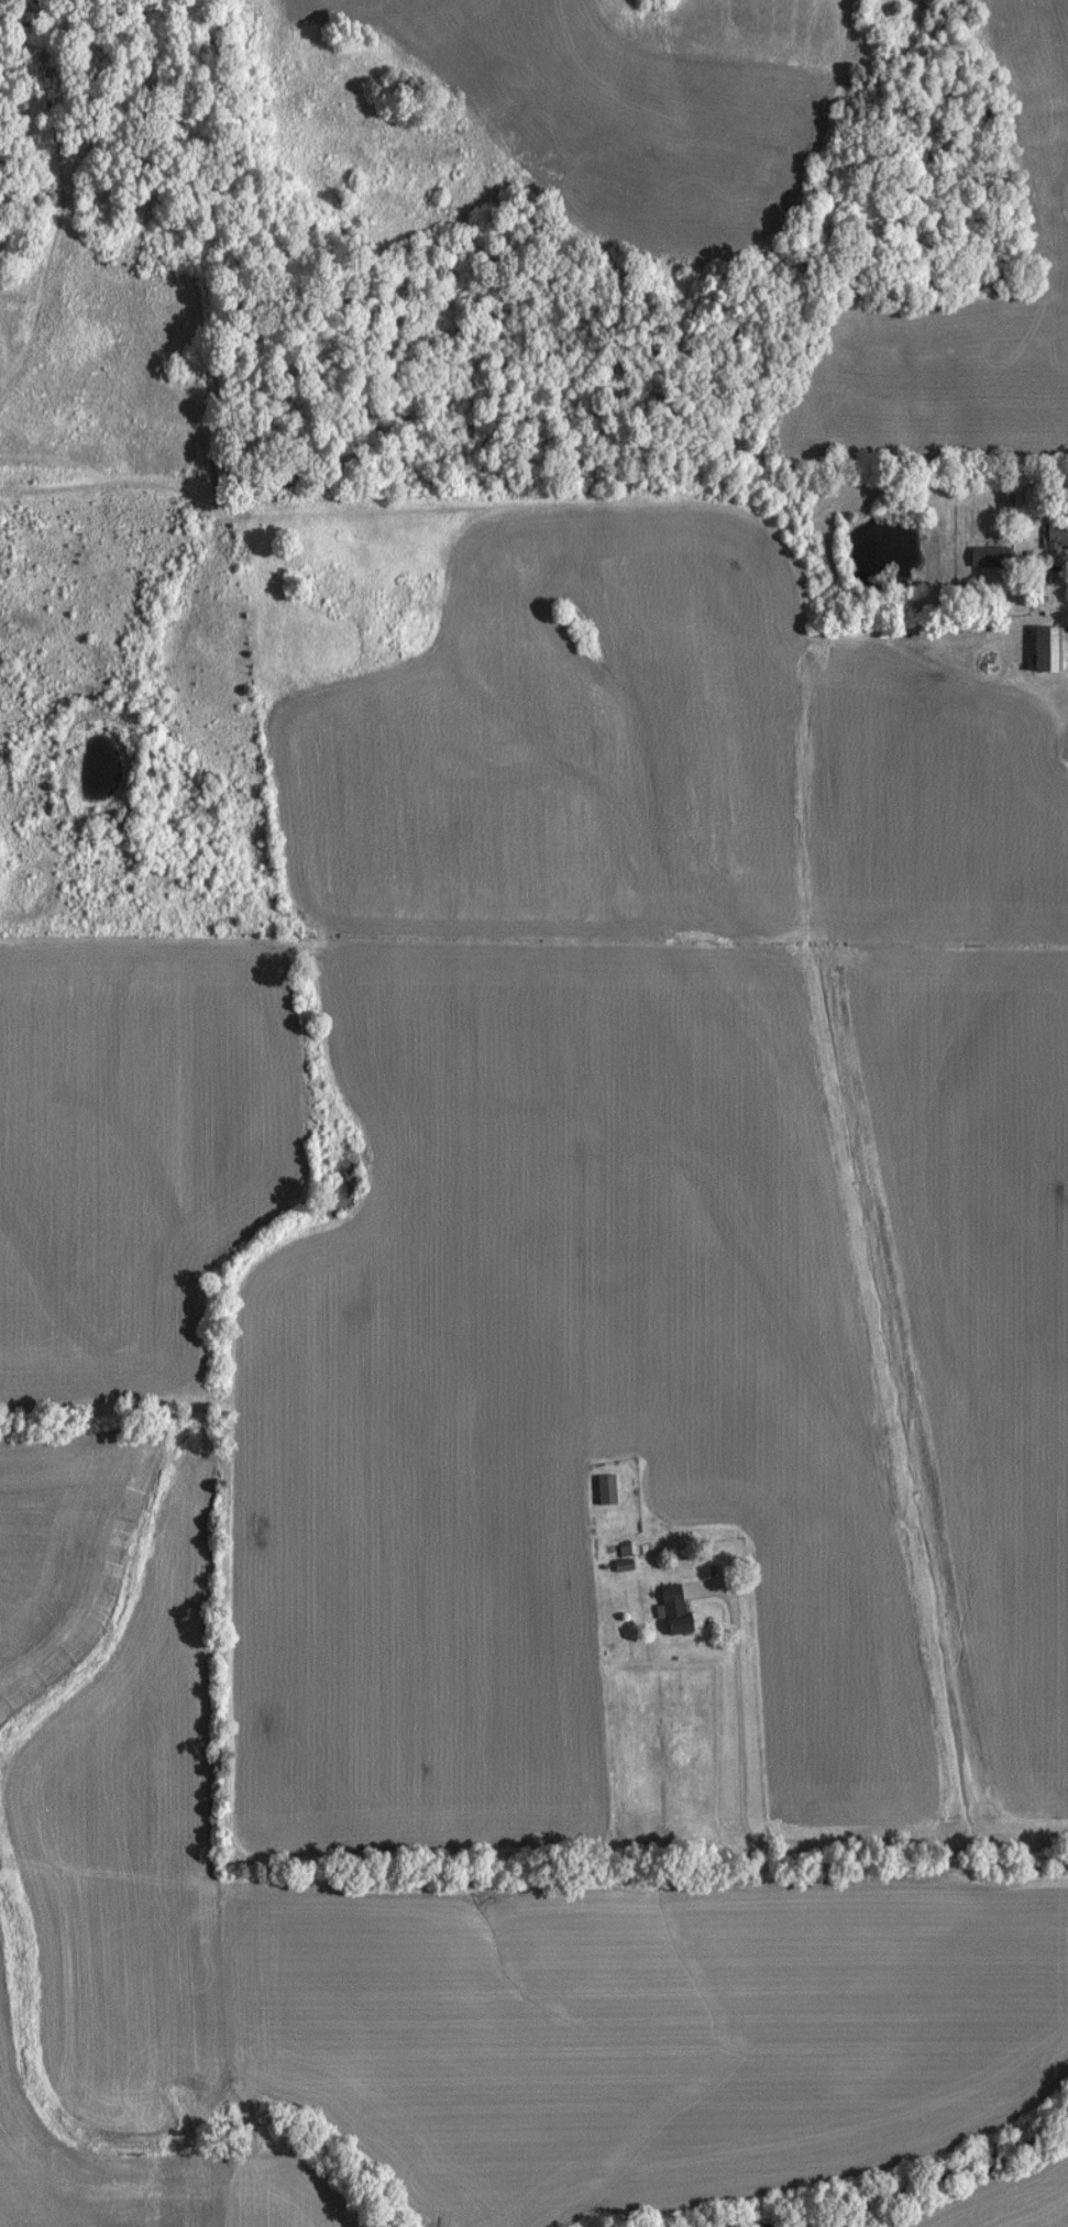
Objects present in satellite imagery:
building: (1052, 536)
building: (982, 556)
road: (1041, 571)
building: (1038, 649)
building: (598, 1490)
building: (667, 1610)
road: (771, 1842)

